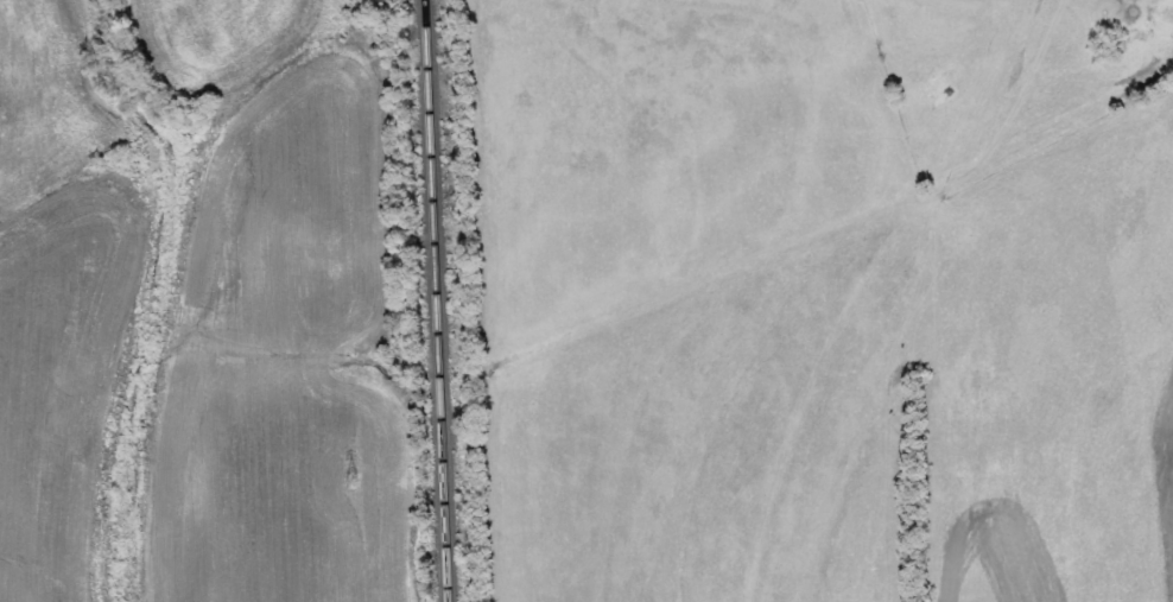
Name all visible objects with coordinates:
railway: (436, 300)
power tower: (349, 482)

